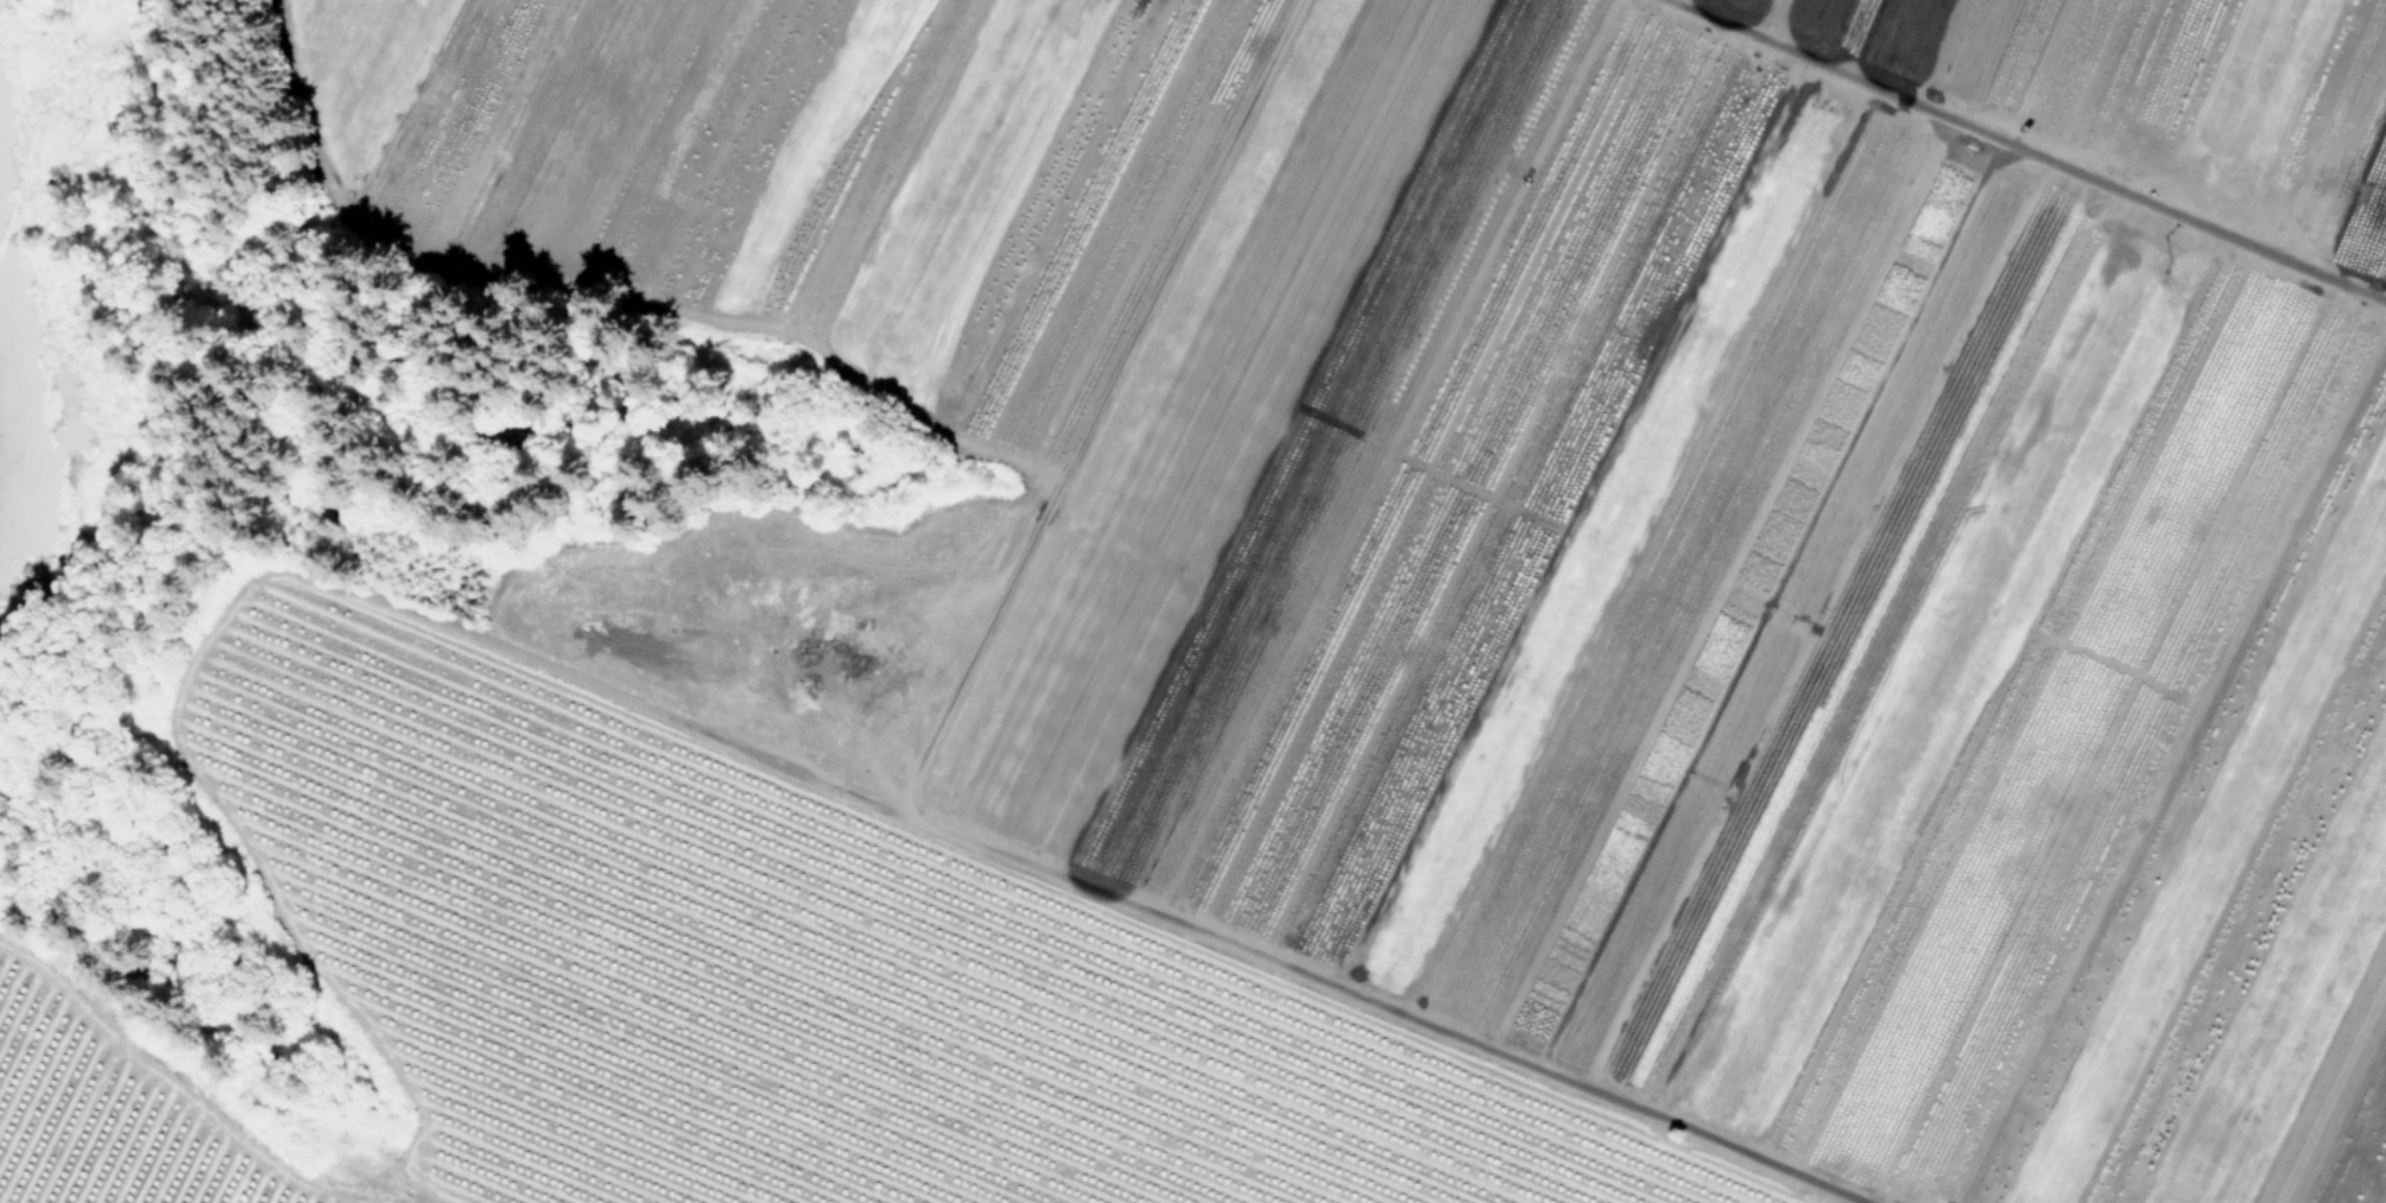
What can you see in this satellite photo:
crop: (1363, 621)
road: (904, 761)

